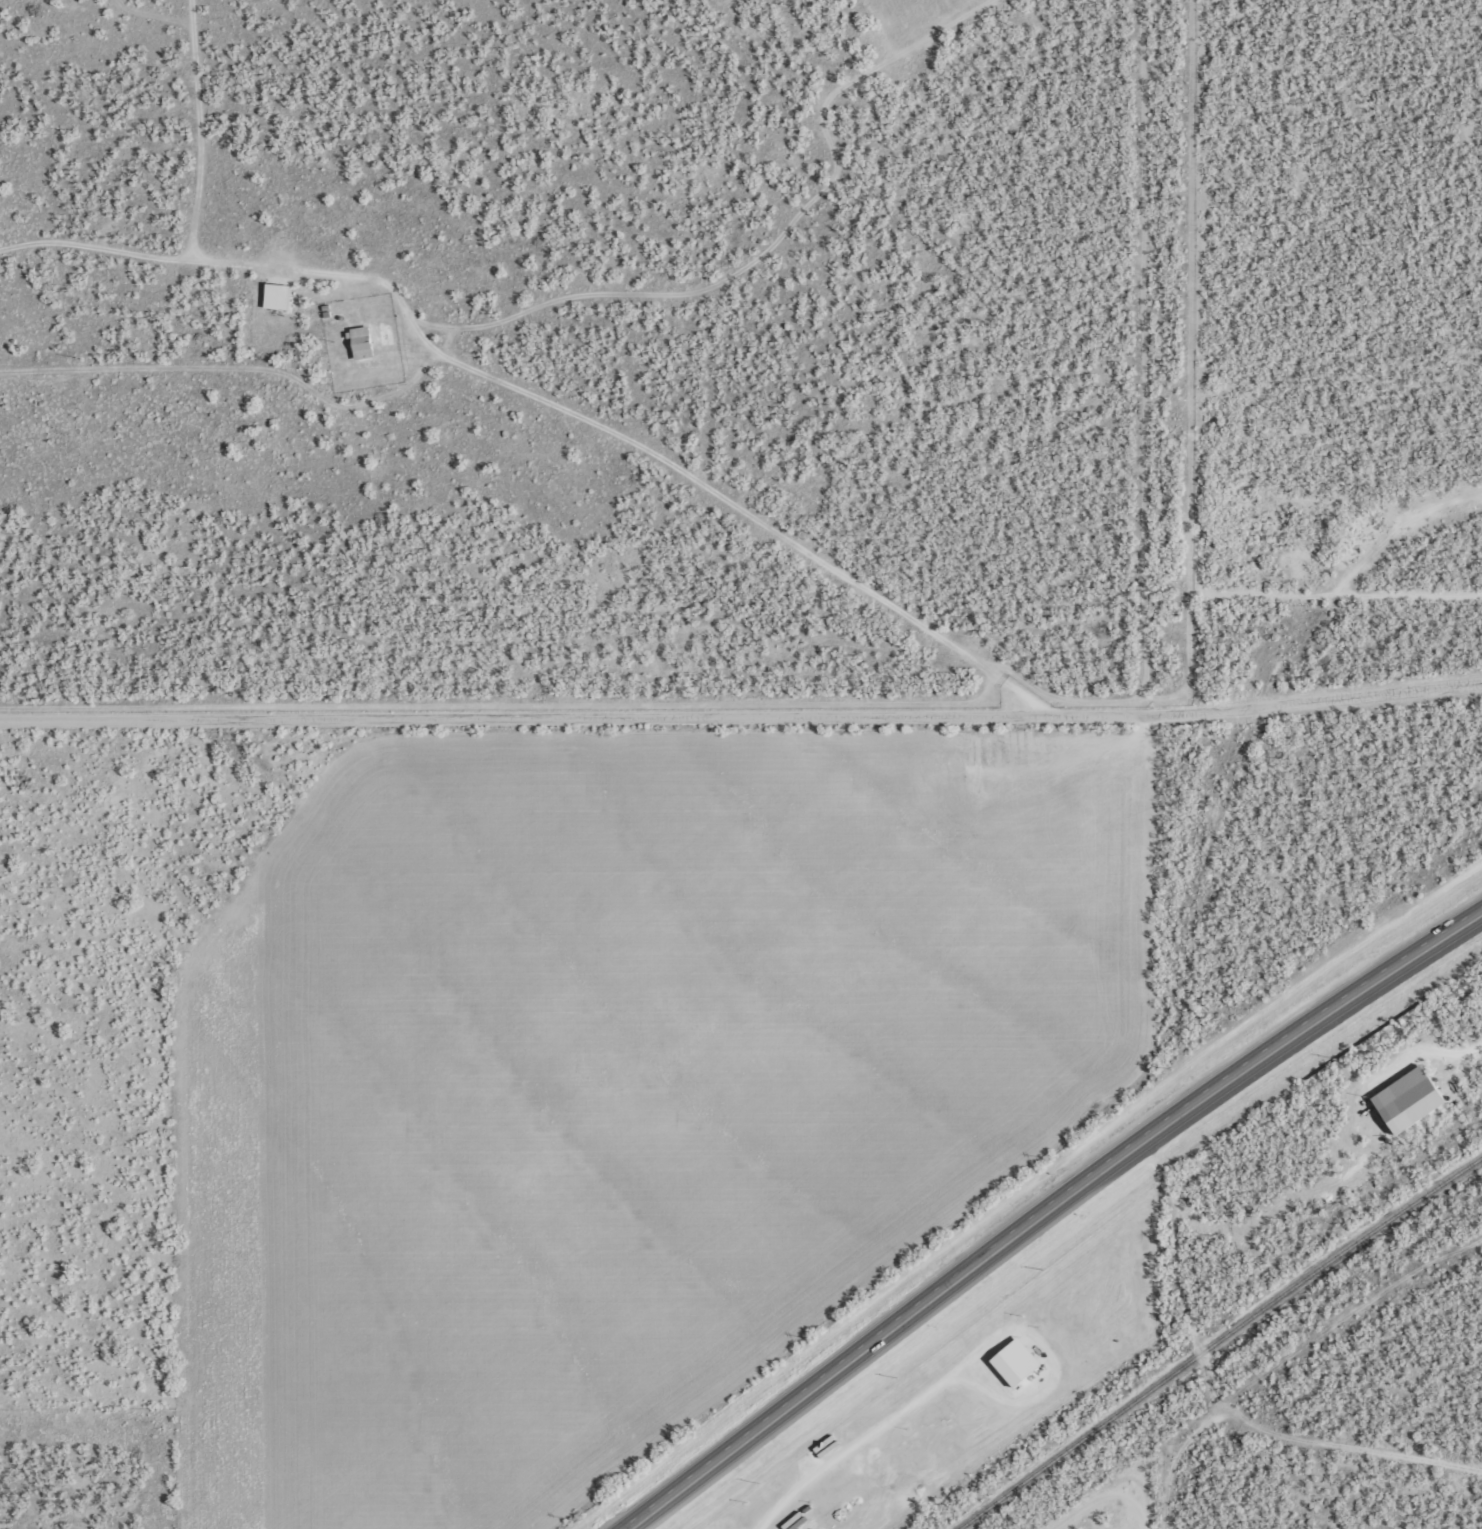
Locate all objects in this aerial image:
building: (281, 295)
building: (366, 343)
road: (742, 686)
building: (1403, 1100)
road: (1051, 1211)
road: (1168, 1245)
railway: (1215, 1338)
building: (1011, 1361)
road: (1315, 1444)

